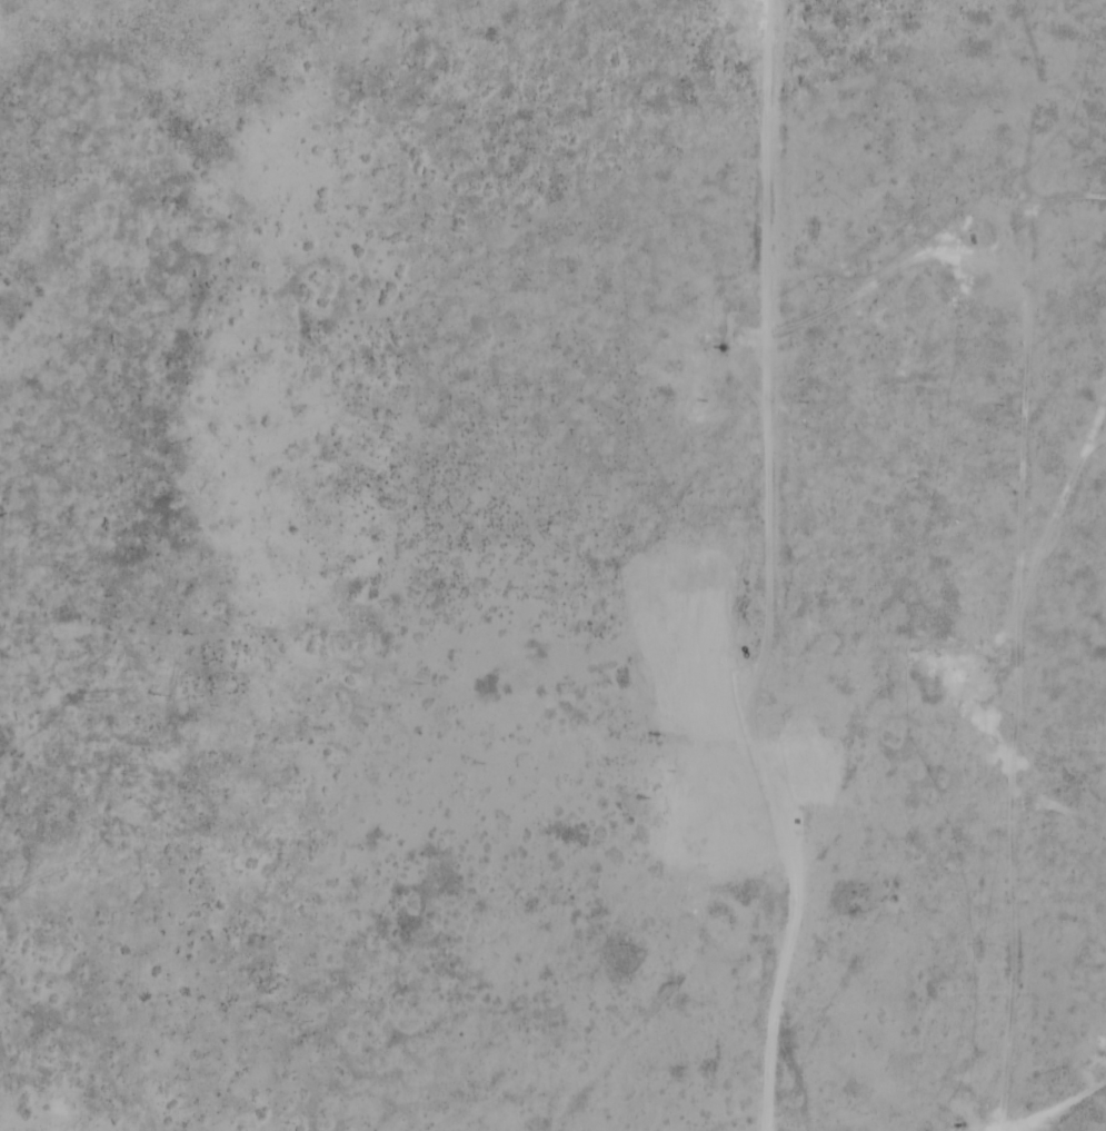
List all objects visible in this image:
road: (925, 246)
road: (1003, 280)
road: (778, 565)
road: (1008, 728)
road: (1057, 822)

